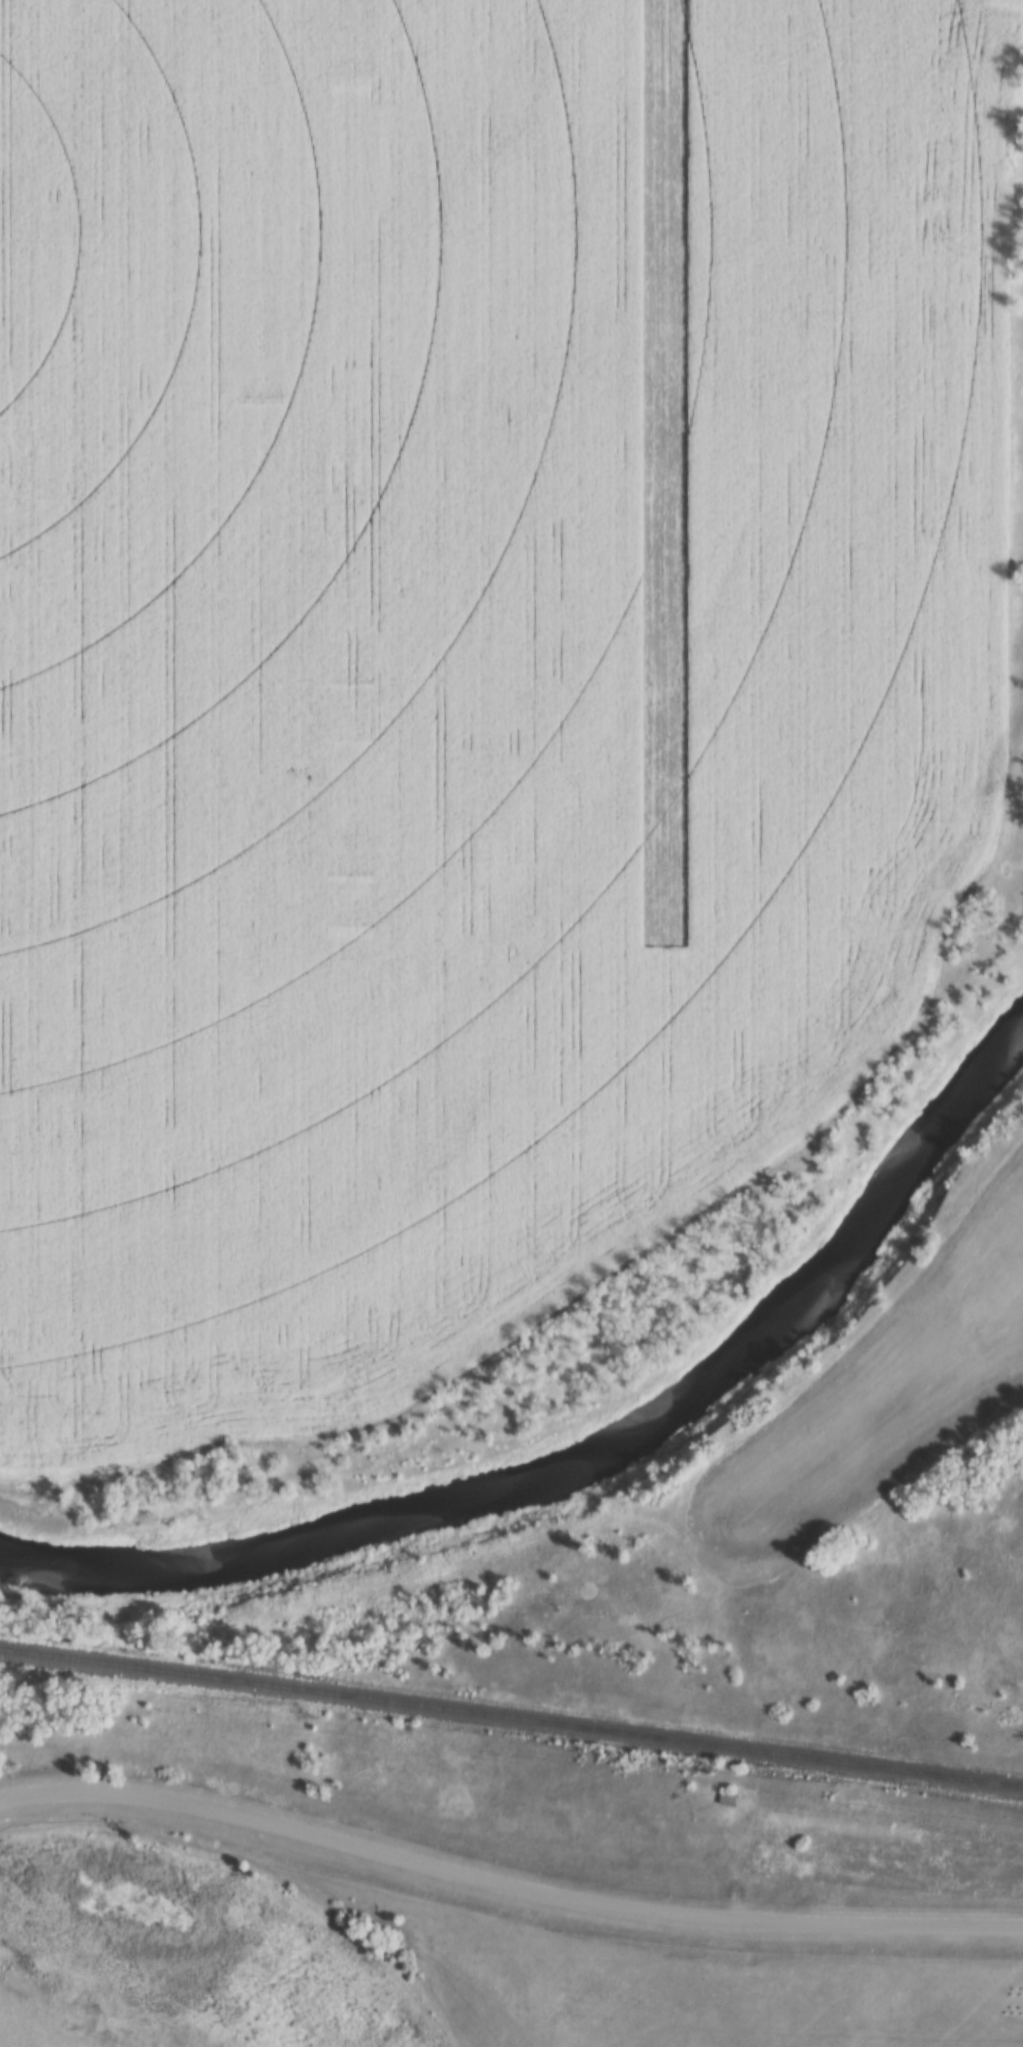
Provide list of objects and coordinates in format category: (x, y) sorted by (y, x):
railway: (511, 1722)
building: (729, 1800)
road: (507, 1884)

